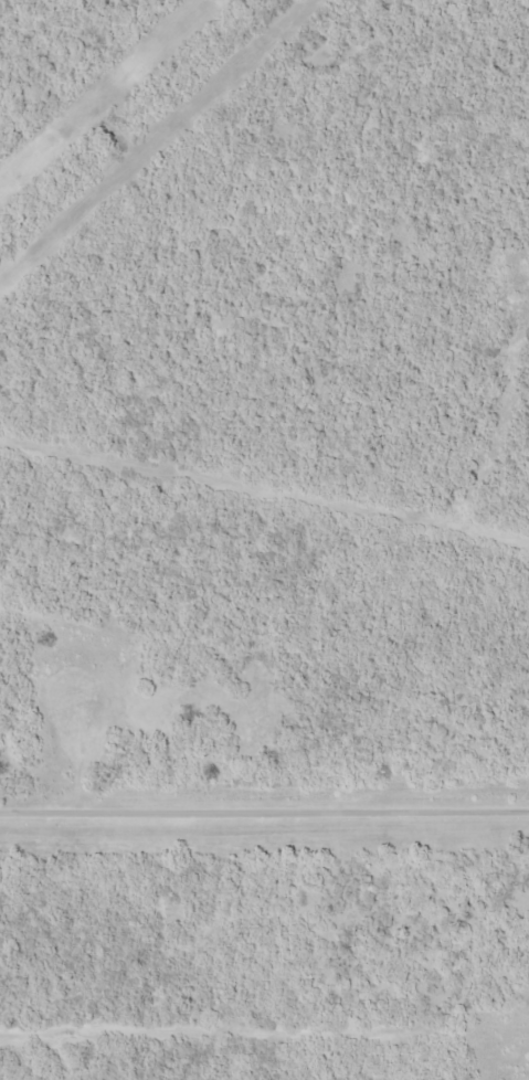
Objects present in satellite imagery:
road: (264, 808)

